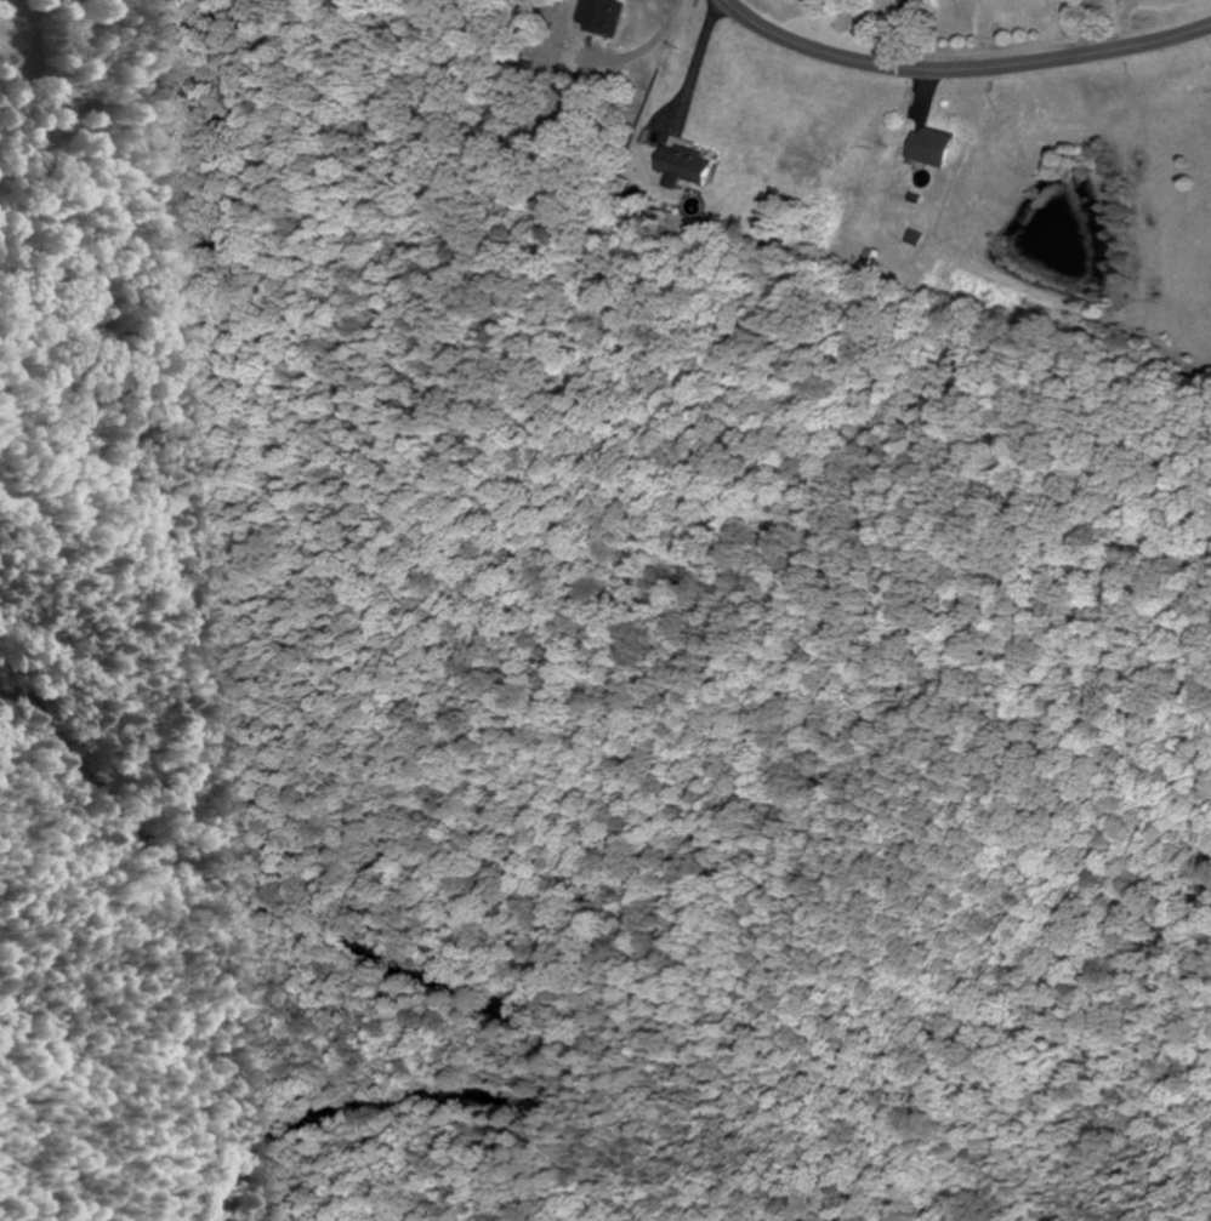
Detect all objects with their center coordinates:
building: (603, 16)
road: (1092, 28)
road: (650, 46)
road: (707, 61)
road: (962, 73)
building: (931, 148)
building: (686, 166)

